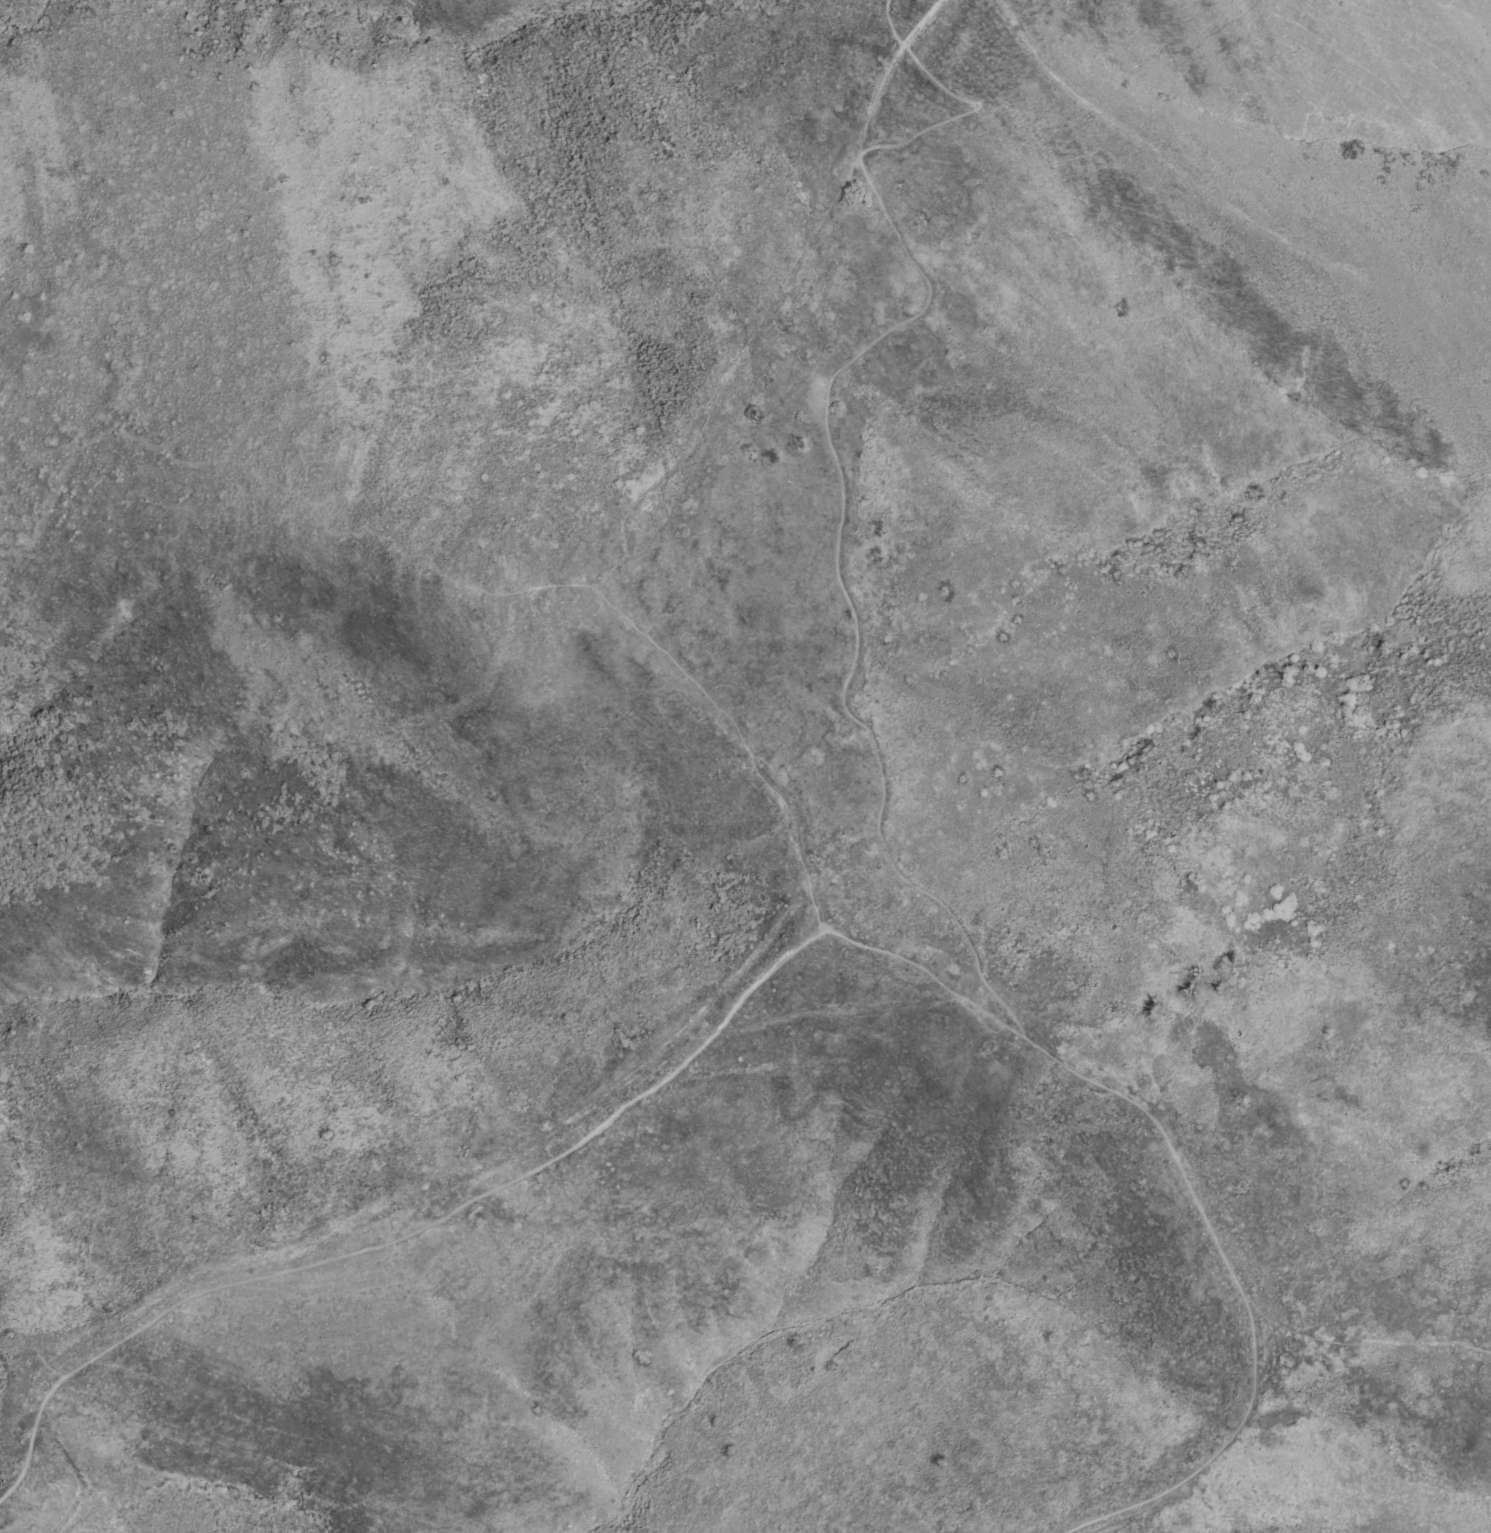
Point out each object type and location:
road: (856, 154)
road: (826, 442)
road: (666, 471)
road: (818, 920)
road: (973, 1001)
road: (1089, 1080)
road: (409, 1235)
road: (1366, 1344)
road: (1201, 1466)

